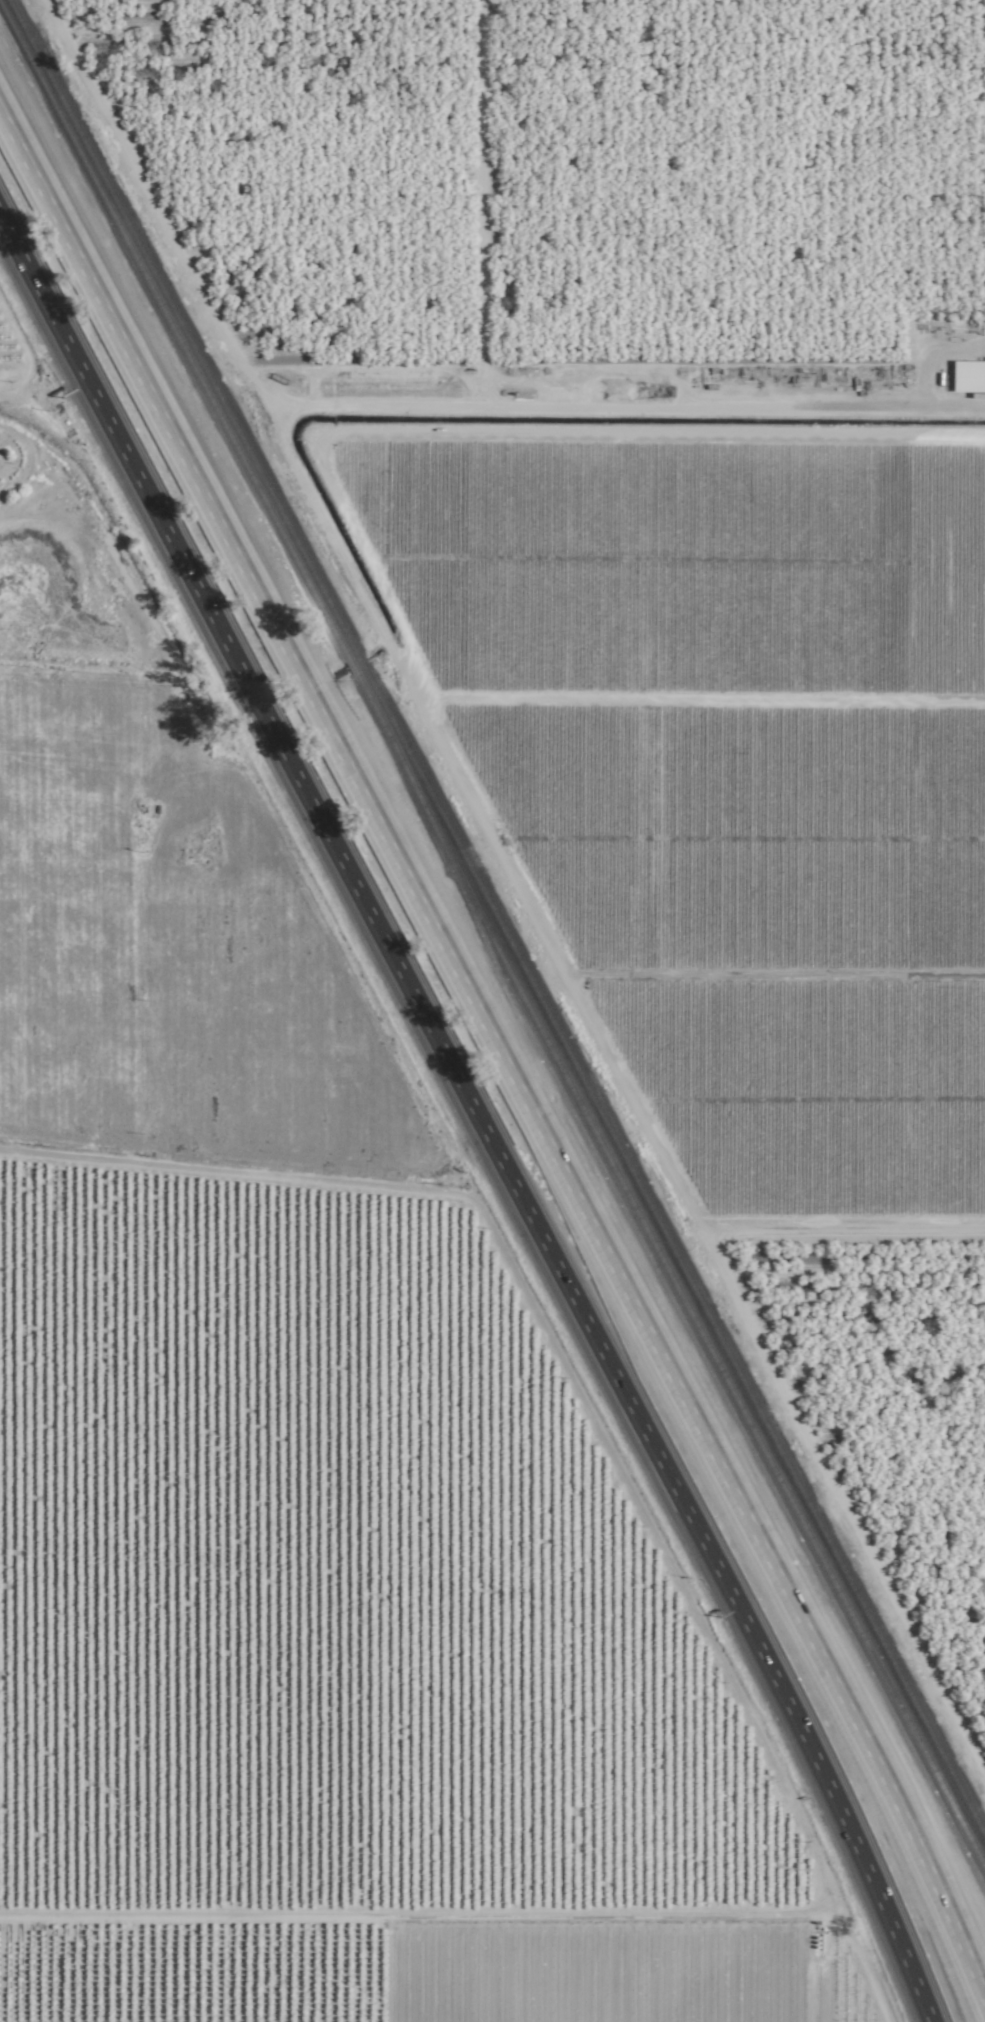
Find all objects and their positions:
crop: (36, 321)
building: (965, 375)
road: (634, 409)
road: (30, 458)
railway: (495, 920)
railway: (489, 943)
road: (499, 1057)
road: (472, 1119)
railway: (715, 1384)
crop: (301, 1466)
road: (432, 1921)

